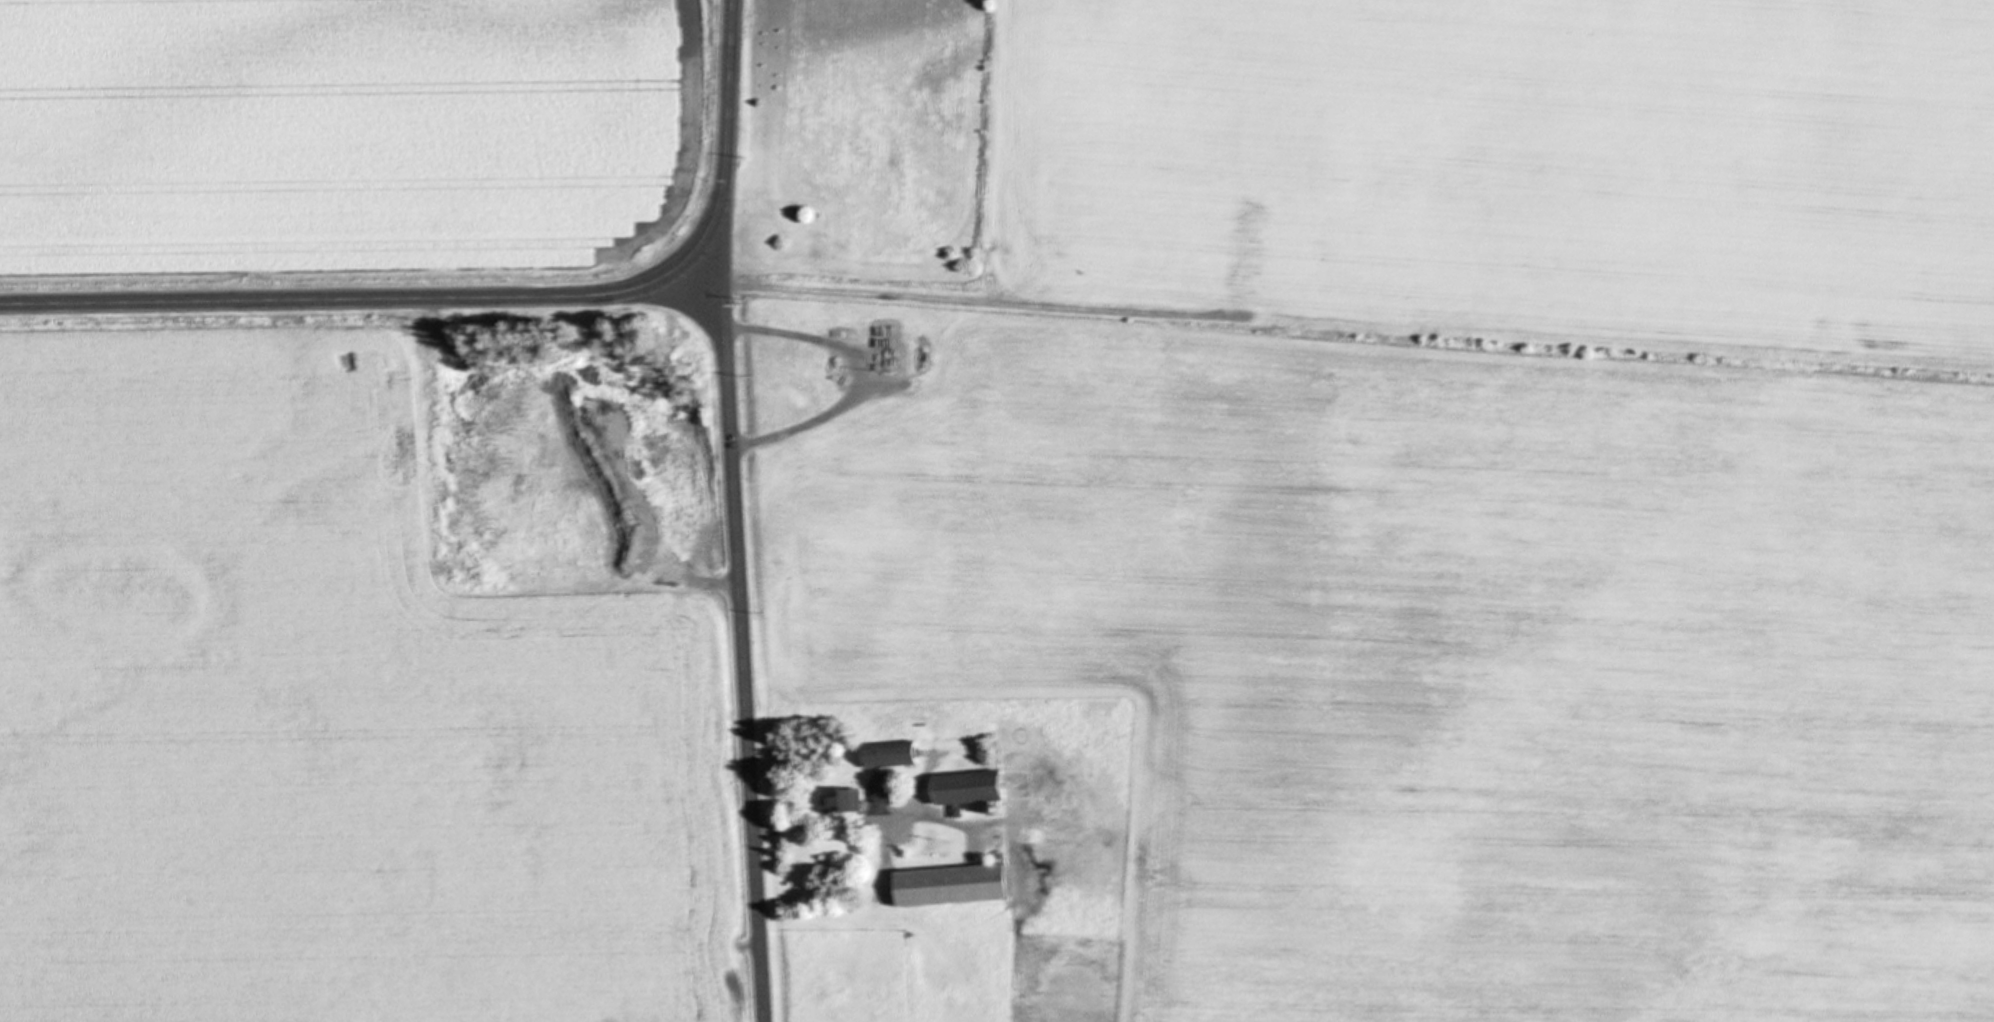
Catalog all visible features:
road: (728, 139)
road: (343, 298)
road: (853, 377)
road: (739, 637)
building: (892, 754)
building: (971, 789)
building: (843, 801)
road: (835, 824)
building: (953, 885)

